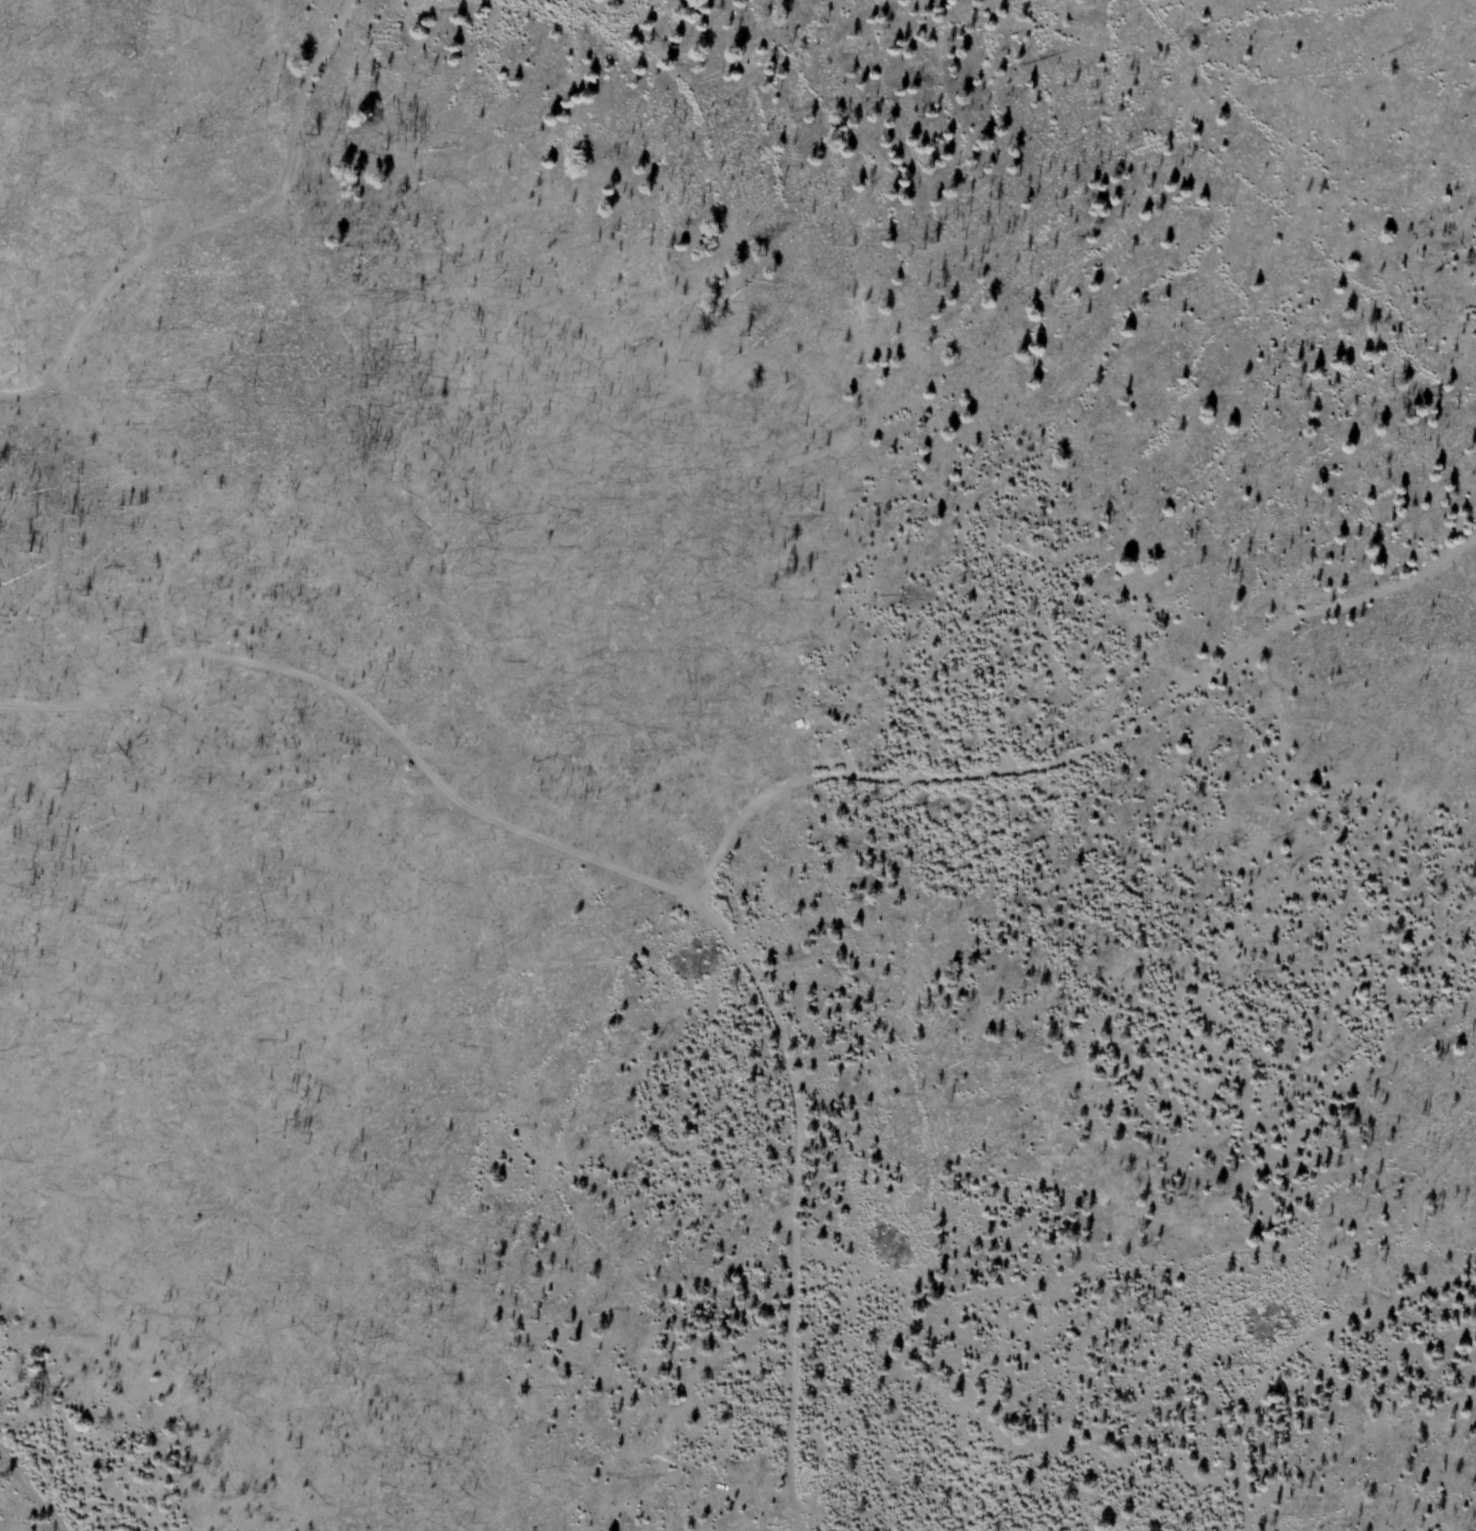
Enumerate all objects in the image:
road: (208, 226)
road: (1083, 753)
road: (639, 877)
road: (1293, 1346)
road: (32, 1489)

